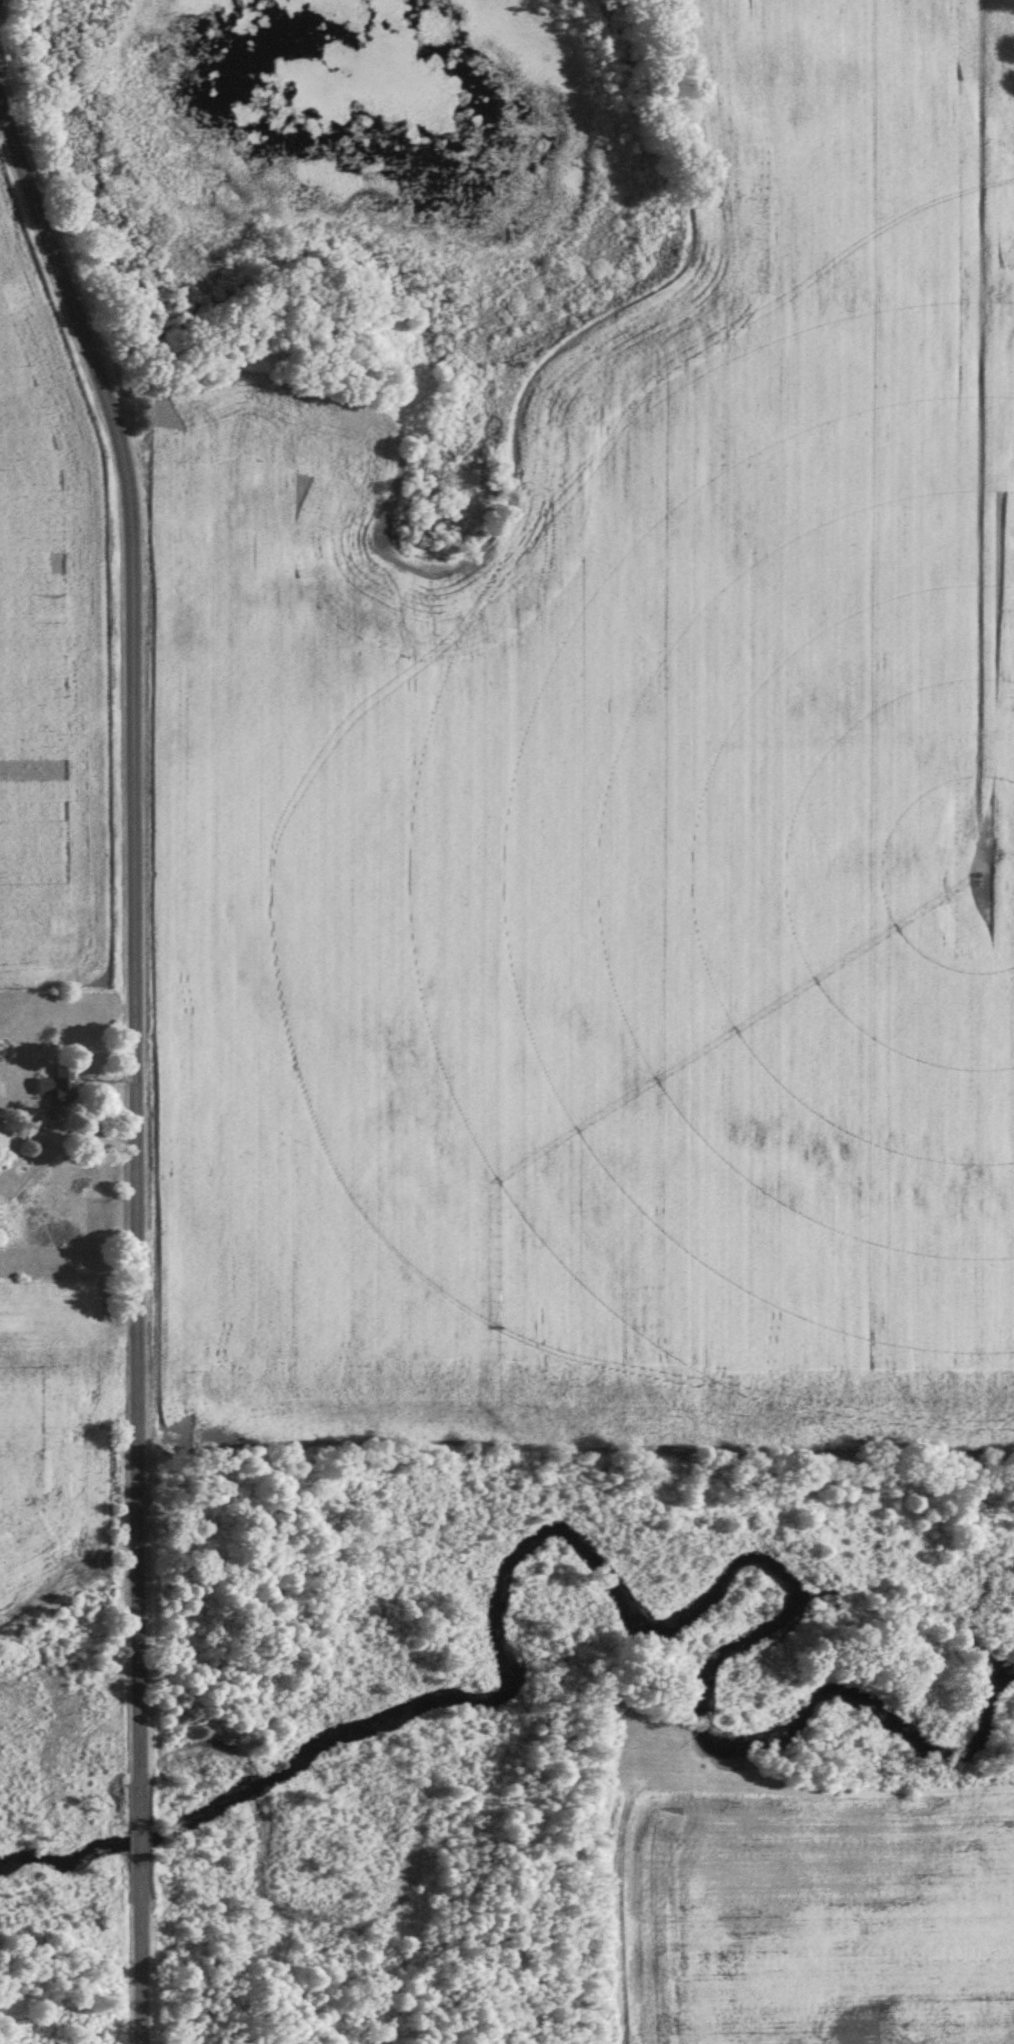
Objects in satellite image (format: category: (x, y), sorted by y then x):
road: (143, 1054)
building: (57, 1092)
building: (3, 1159)
building: (0, 1223)

